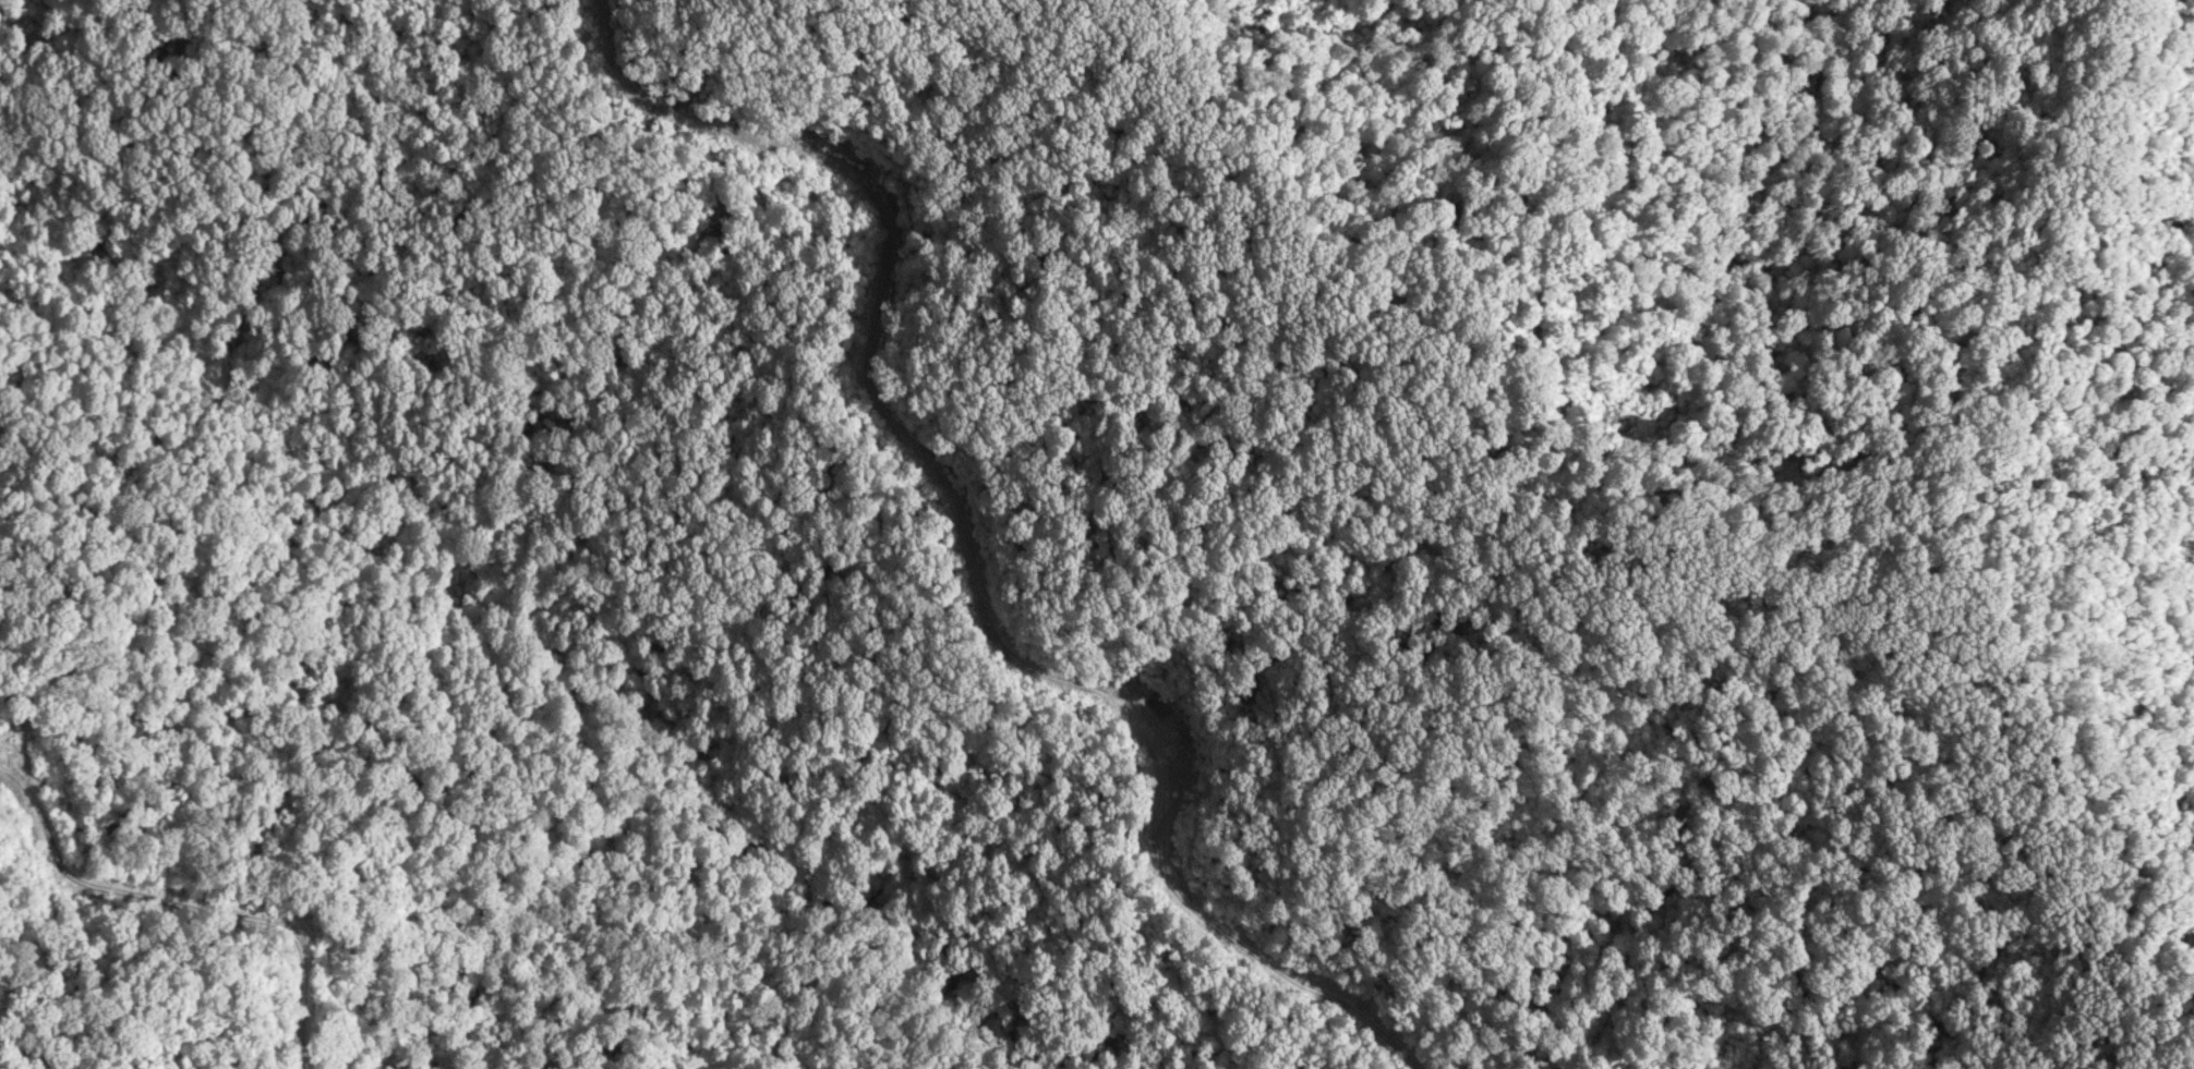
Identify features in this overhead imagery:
road: (191, 712)

